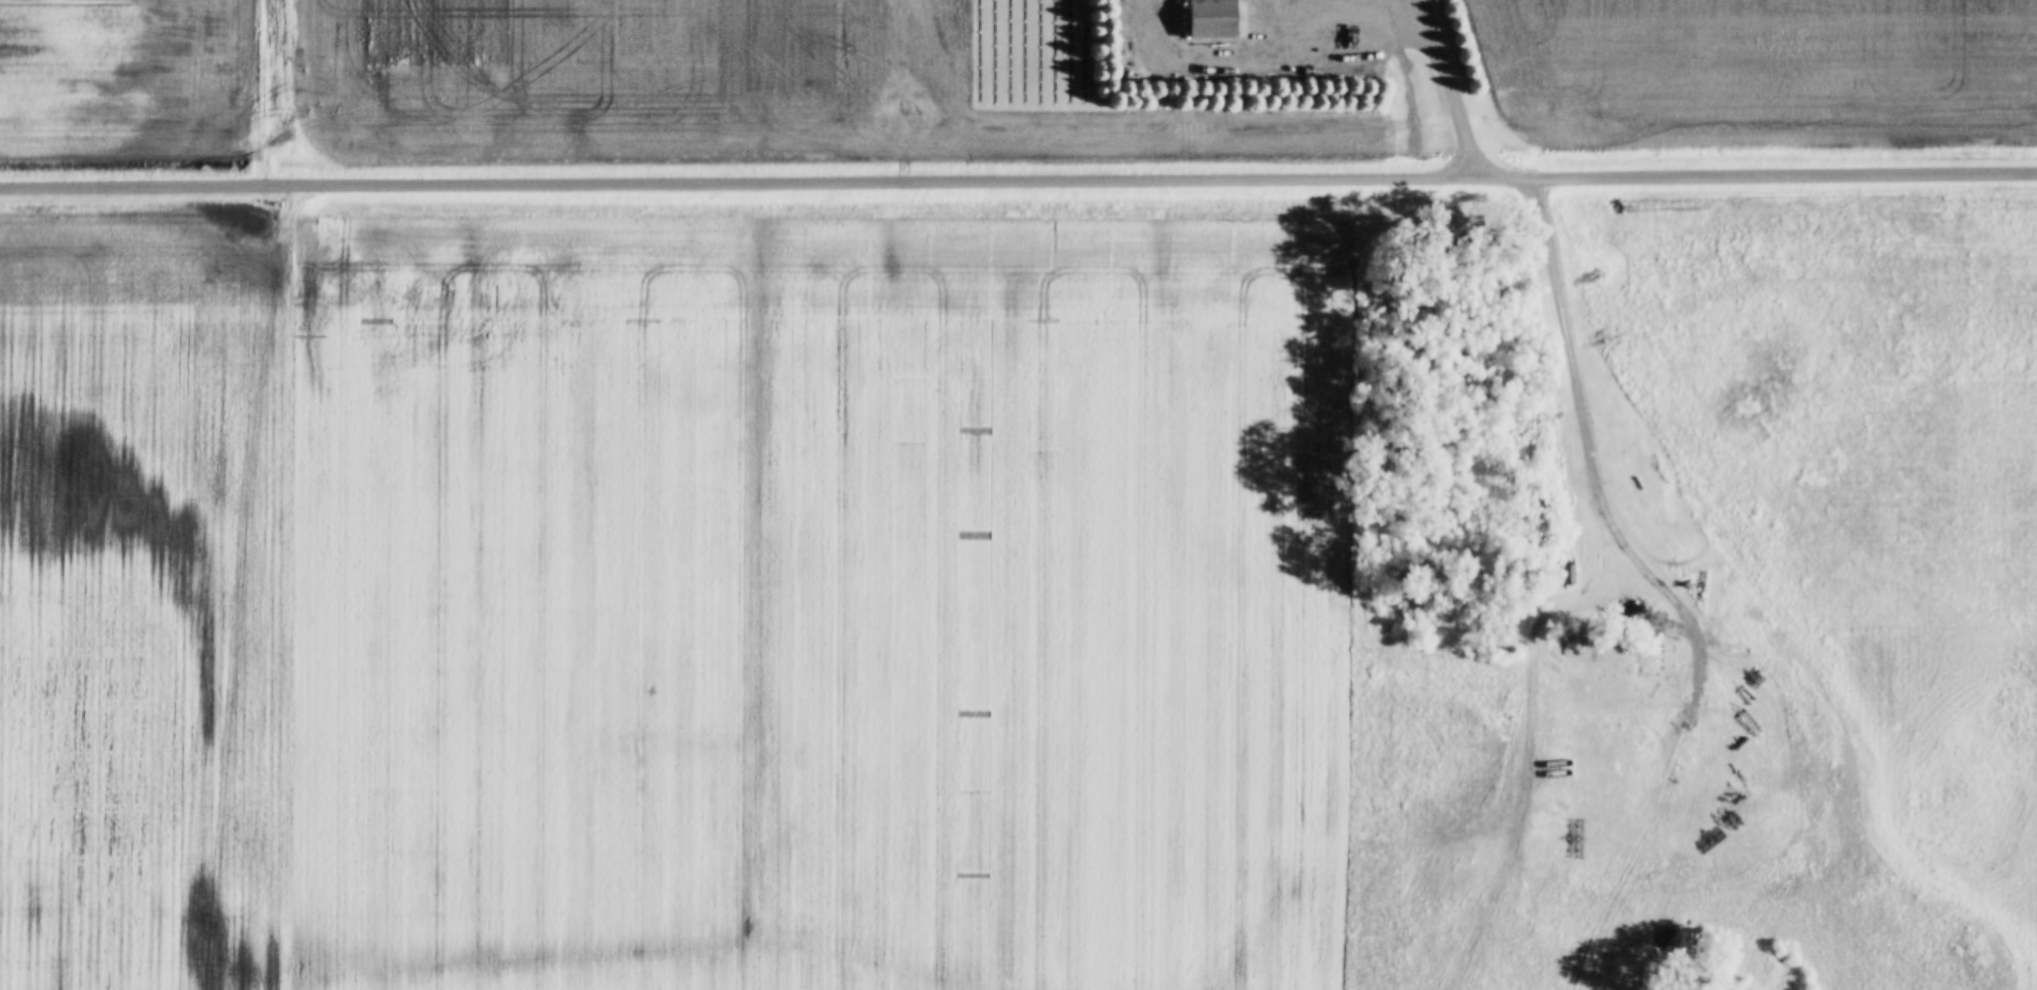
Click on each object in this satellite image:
building: (1206, 19)
road: (1453, 82)
road: (261, 92)
road: (1018, 179)
building: (1566, 574)

